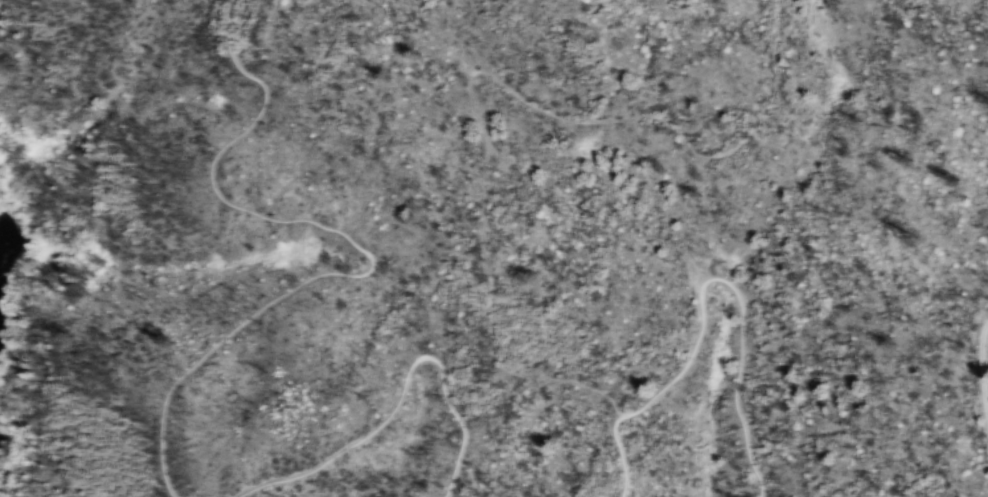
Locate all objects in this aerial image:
road: (478, 73)
road: (363, 247)
road: (703, 281)
road: (981, 370)
road: (399, 391)

